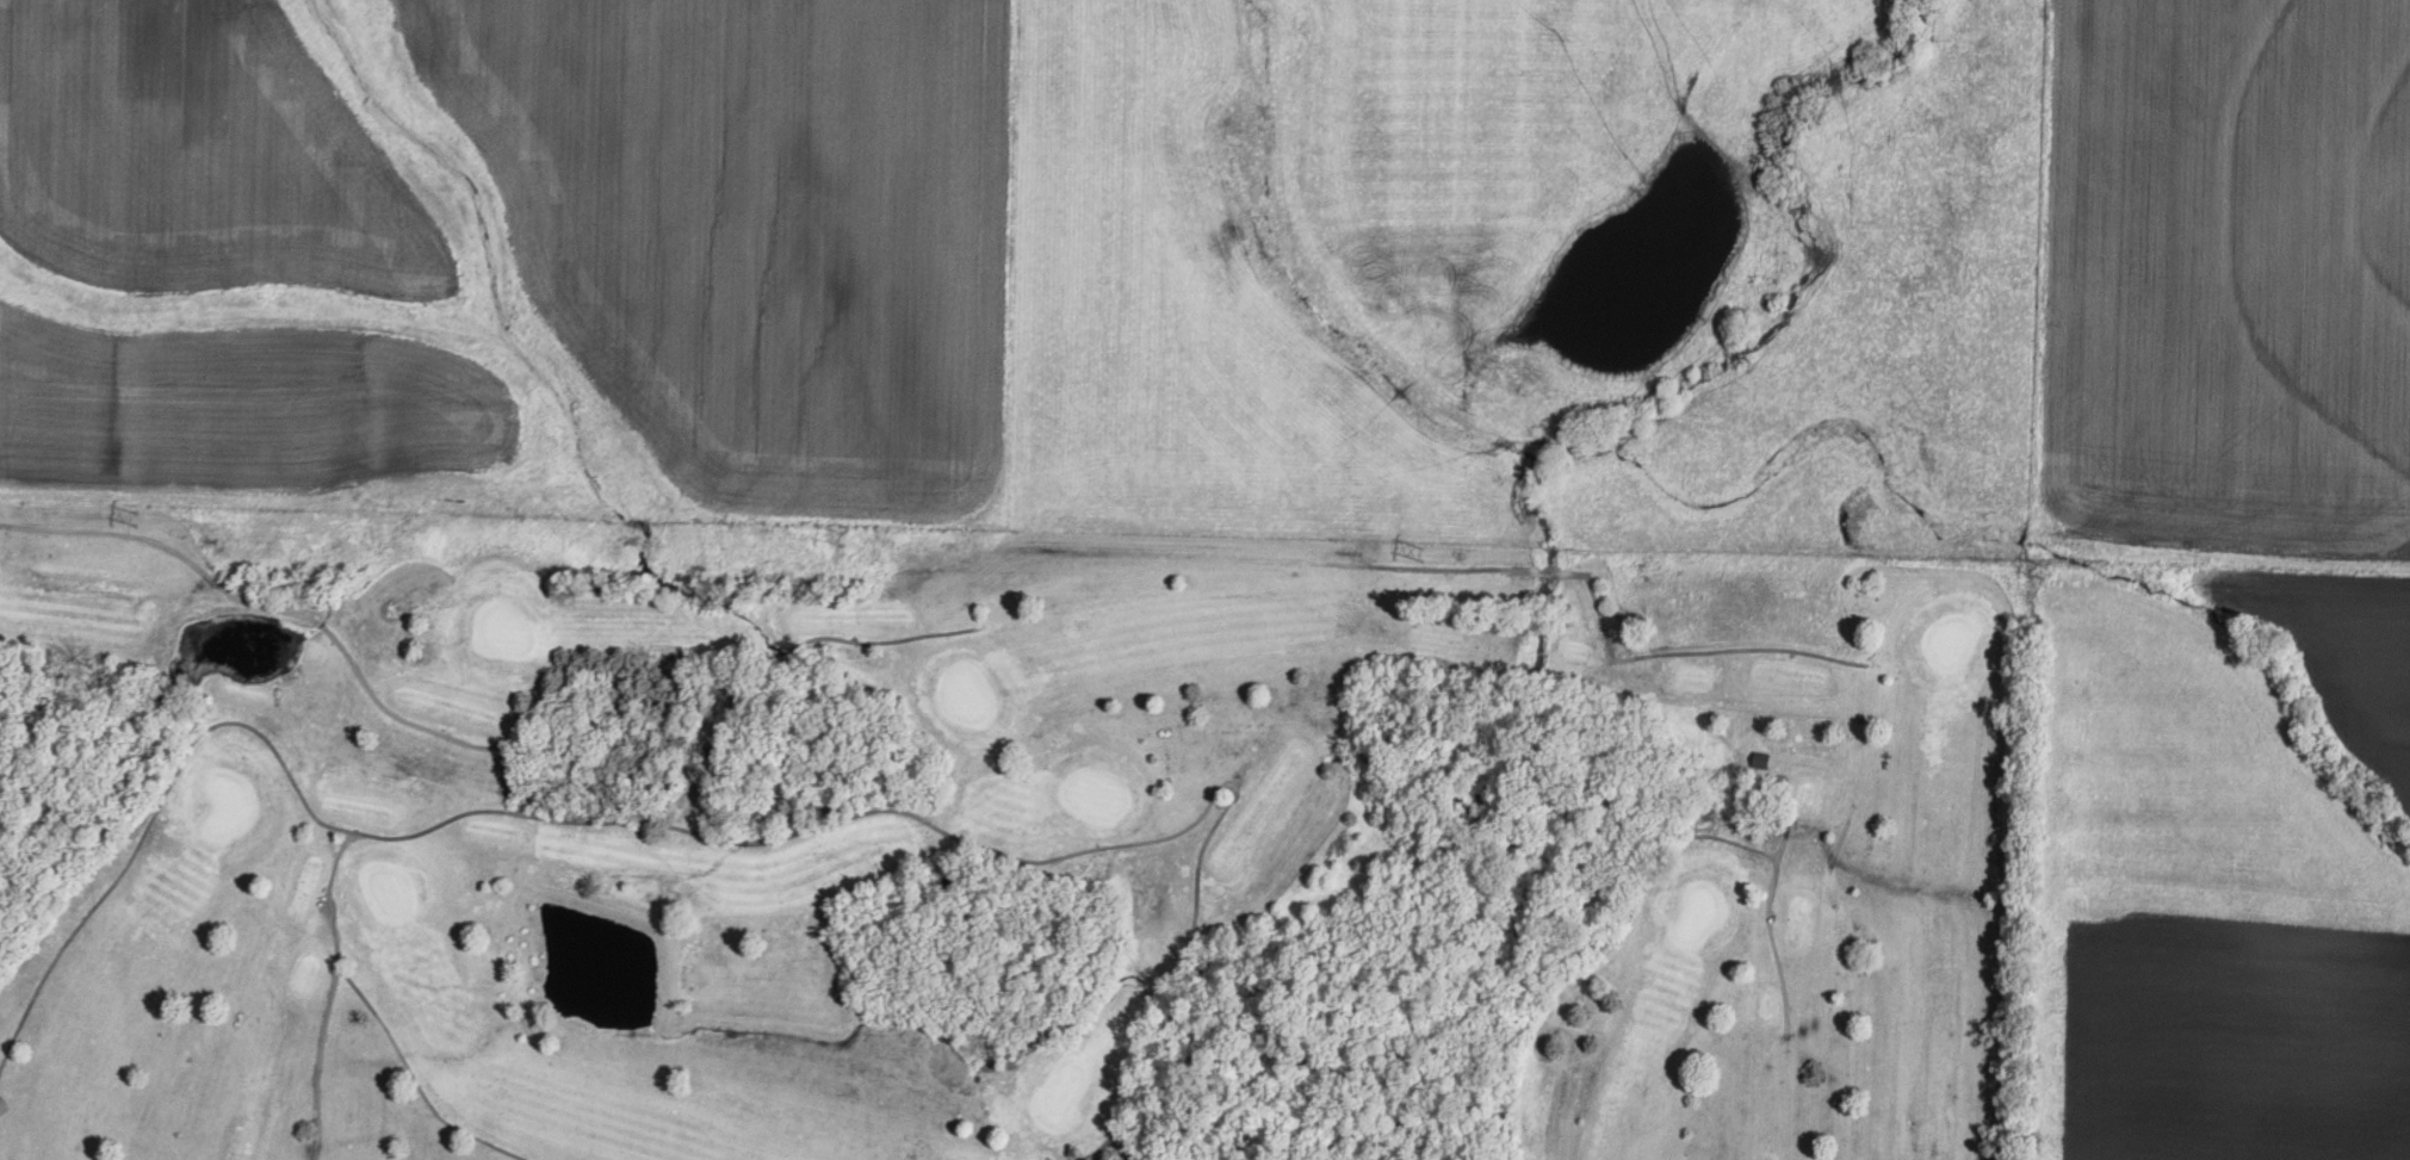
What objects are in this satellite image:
crop: (513, 259)
crop: (2224, 281)
power tower: (140, 520)
power tower: (845, 548)
power tower: (1427, 559)
power tower: (2046, 576)
park: (998, 844)
crop: (2212, 1047)

